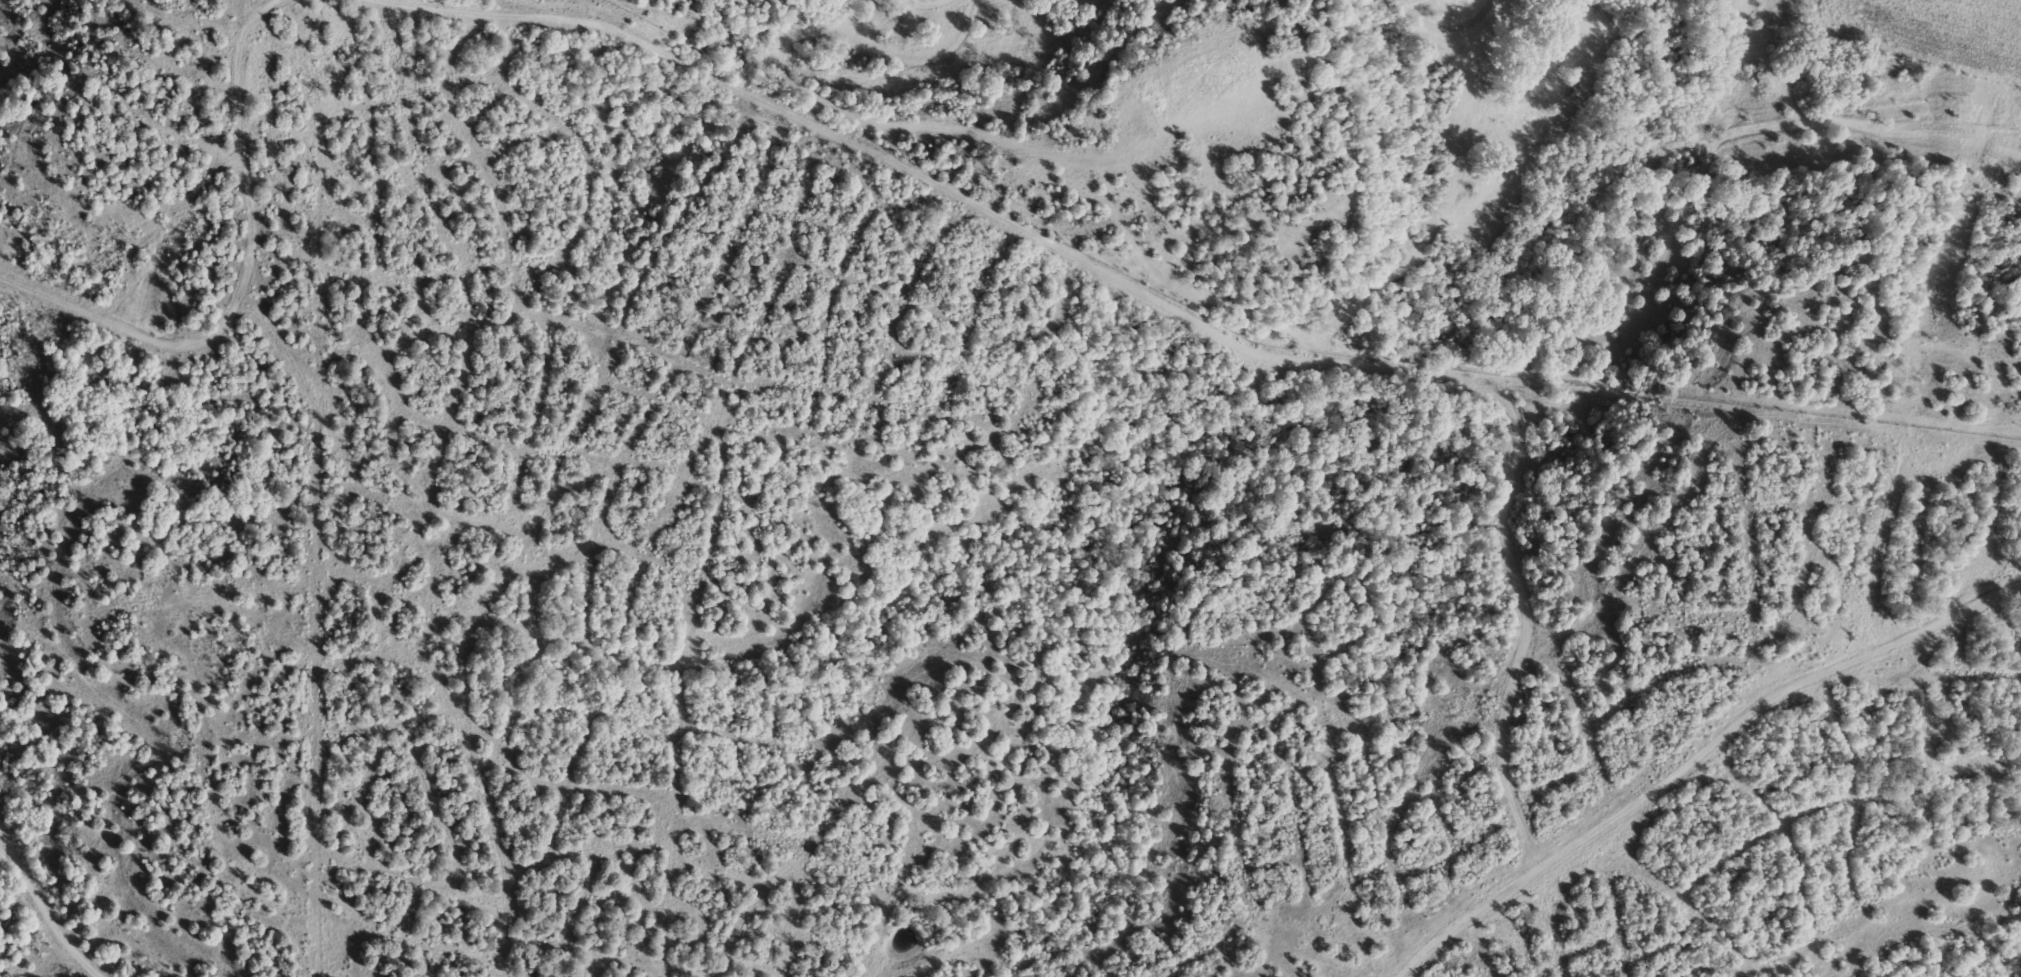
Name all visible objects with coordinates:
road: (927, 5)
road: (1440, 20)
road: (854, 91)
road: (245, 280)
road: (1168, 306)
road: (1761, 698)
road: (43, 906)
road: (1458, 916)

